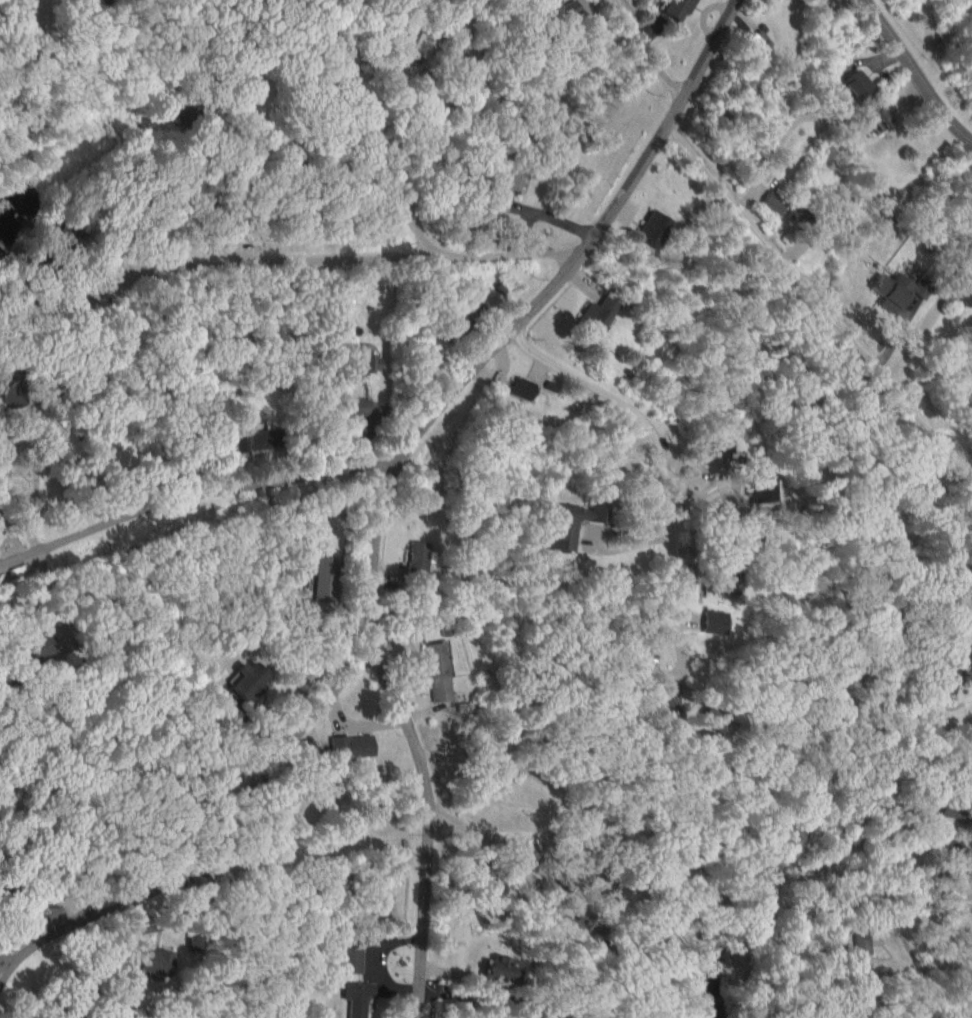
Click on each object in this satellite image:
building: (678, 8)
building: (557, 10)
building: (760, 39)
road: (914, 74)
building: (859, 86)
road: (368, 155)
building: (505, 189)
building: (773, 202)
building: (653, 229)
road: (578, 246)
road: (340, 250)
road: (781, 258)
building: (900, 291)
building: (964, 292)
building: (597, 314)
building: (372, 365)
building: (524, 389)
building: (11, 393)
building: (359, 406)
building: (252, 440)
road: (656, 475)
road: (36, 483)
road: (189, 497)
building: (572, 523)
building: (417, 559)
building: (325, 578)
building: (713, 621)
building: (435, 670)
building: (948, 678)
building: (248, 679)
building: (668, 703)
road: (415, 732)
building: (351, 746)
building: (952, 812)
road: (206, 845)
road: (495, 850)
building: (576, 923)
building: (190, 939)
building: (859, 941)
road: (6, 955)
building: (349, 958)
building: (154, 960)
building: (502, 968)
building: (356, 997)
building: (527, 1013)

